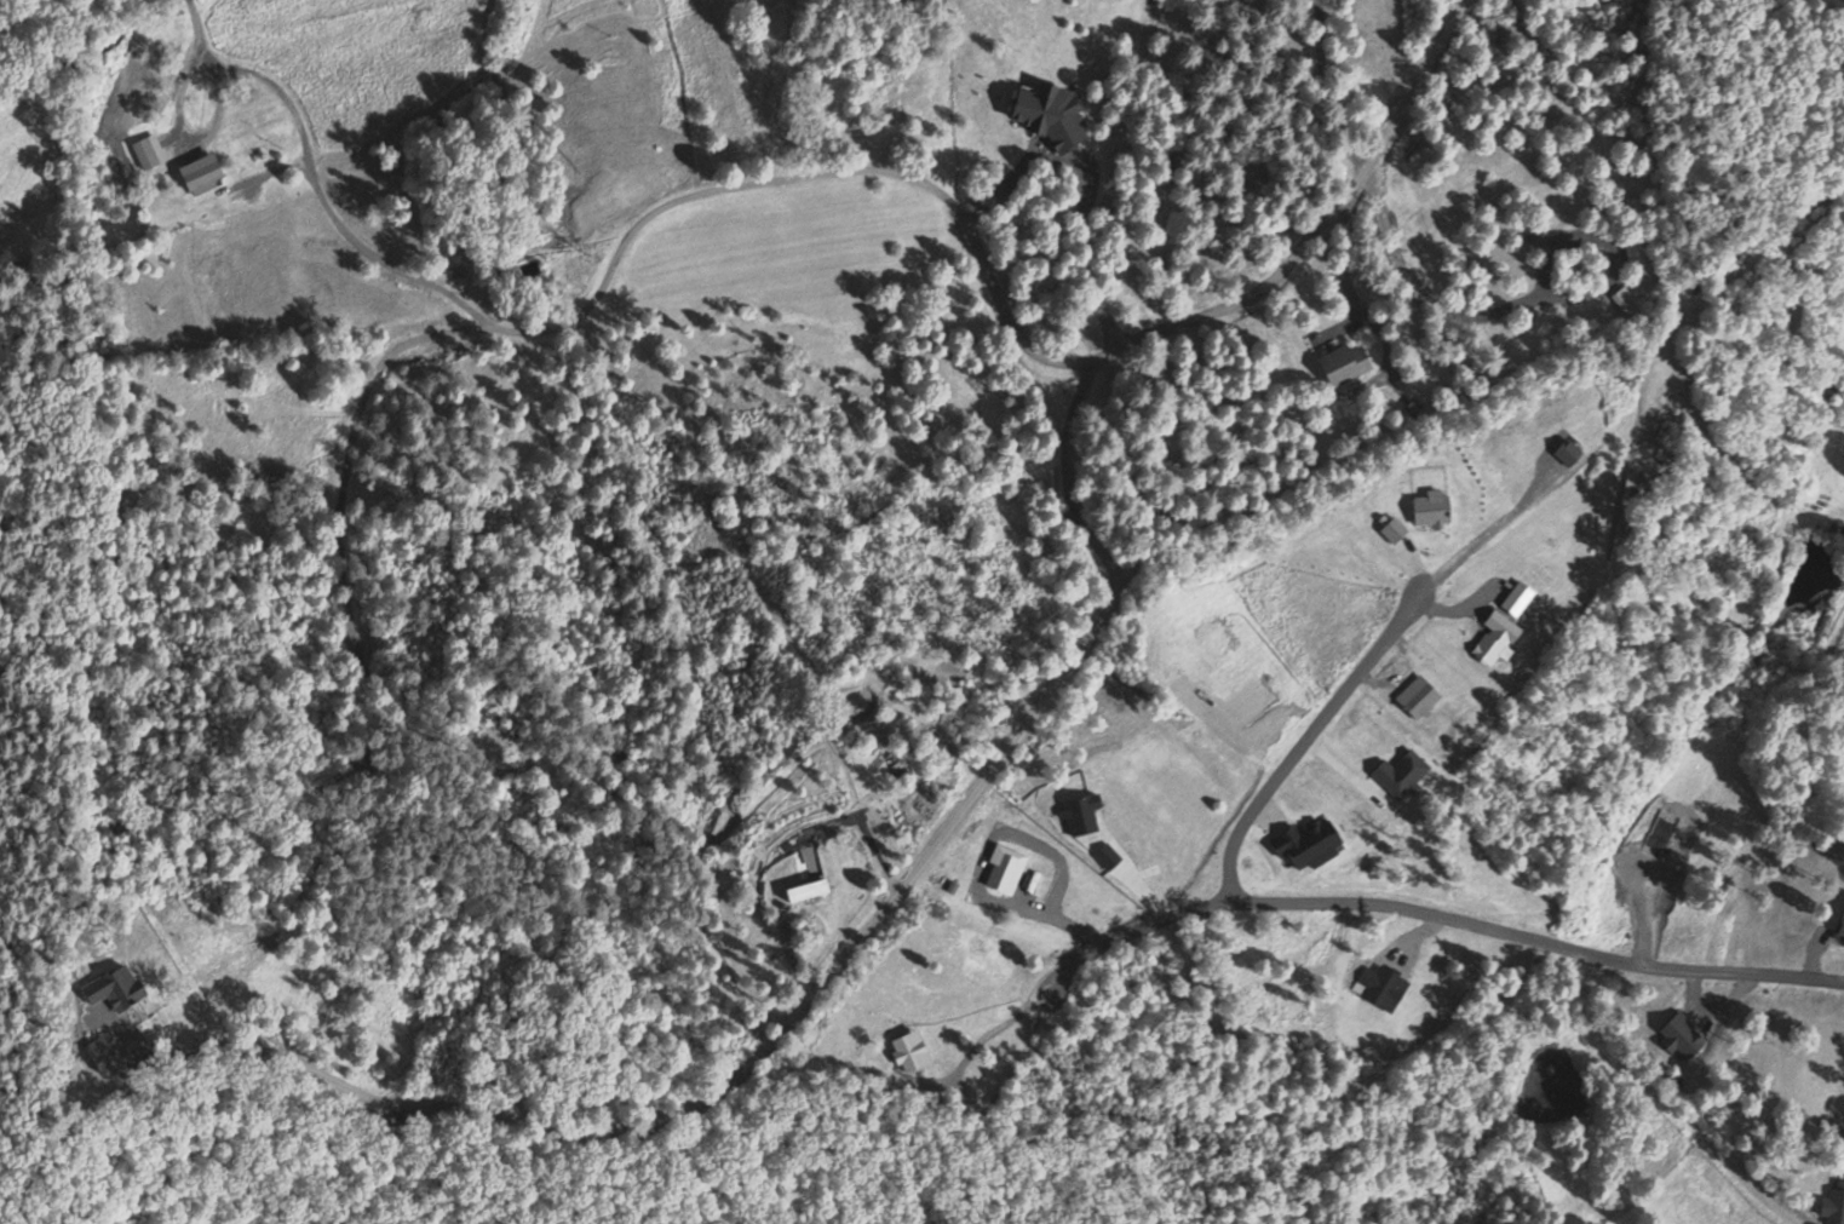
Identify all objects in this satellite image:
building: (1047, 115)
building: (147, 151)
building: (197, 174)
building: (1633, 249)
building: (1621, 297)
building: (1342, 364)
building: (1412, 408)
building: (1566, 453)
building: (1430, 508)
building: (1391, 529)
building: (1516, 597)
building: (1494, 636)
building: (1417, 696)
road: (1306, 740)
building: (1400, 774)
building: (1079, 811)
building: (1305, 841)
building: (1003, 868)
building: (804, 889)
road: (1435, 914)
building: (1839, 927)
building: (110, 987)
building: (1679, 1034)
building: (907, 1050)
building: (99, 1052)

